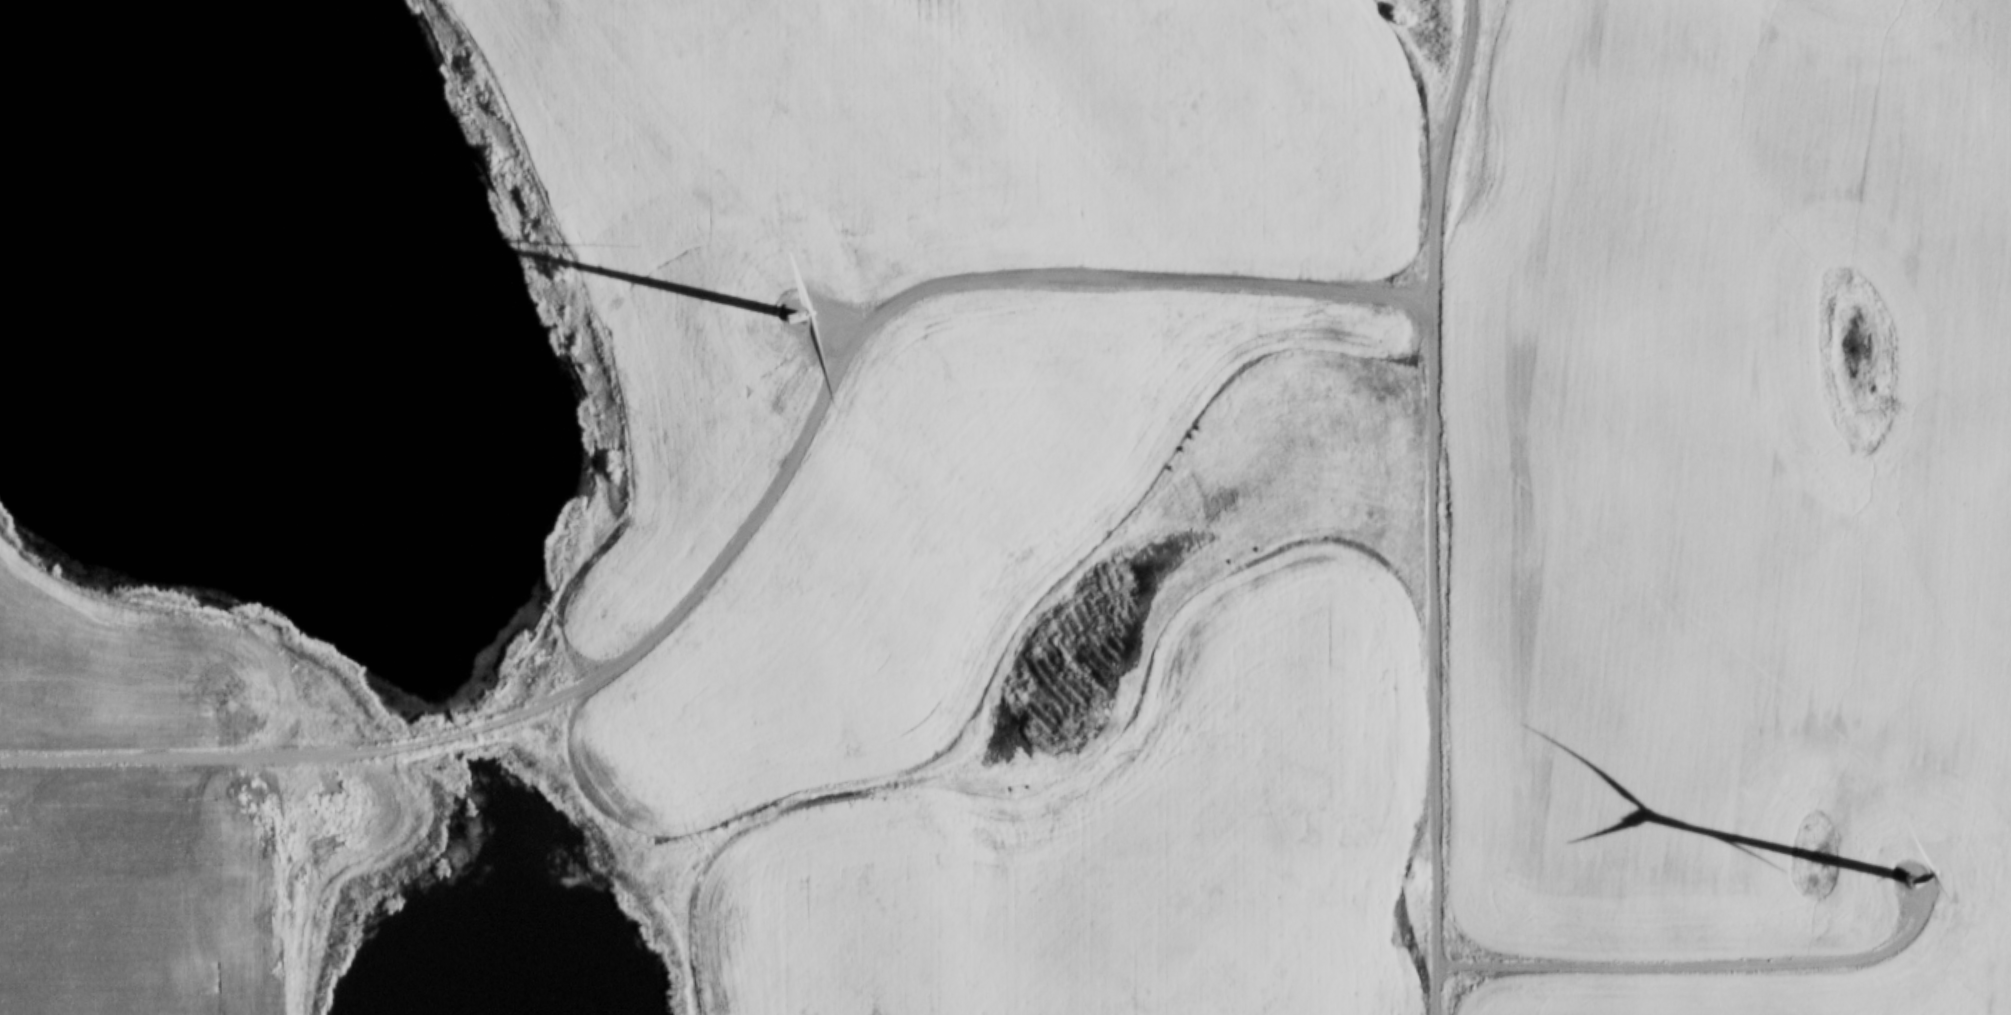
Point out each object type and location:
wind turbine: (800, 317)
road: (1430, 506)
road: (728, 510)
wind turbine: (1912, 880)
road: (1673, 961)

